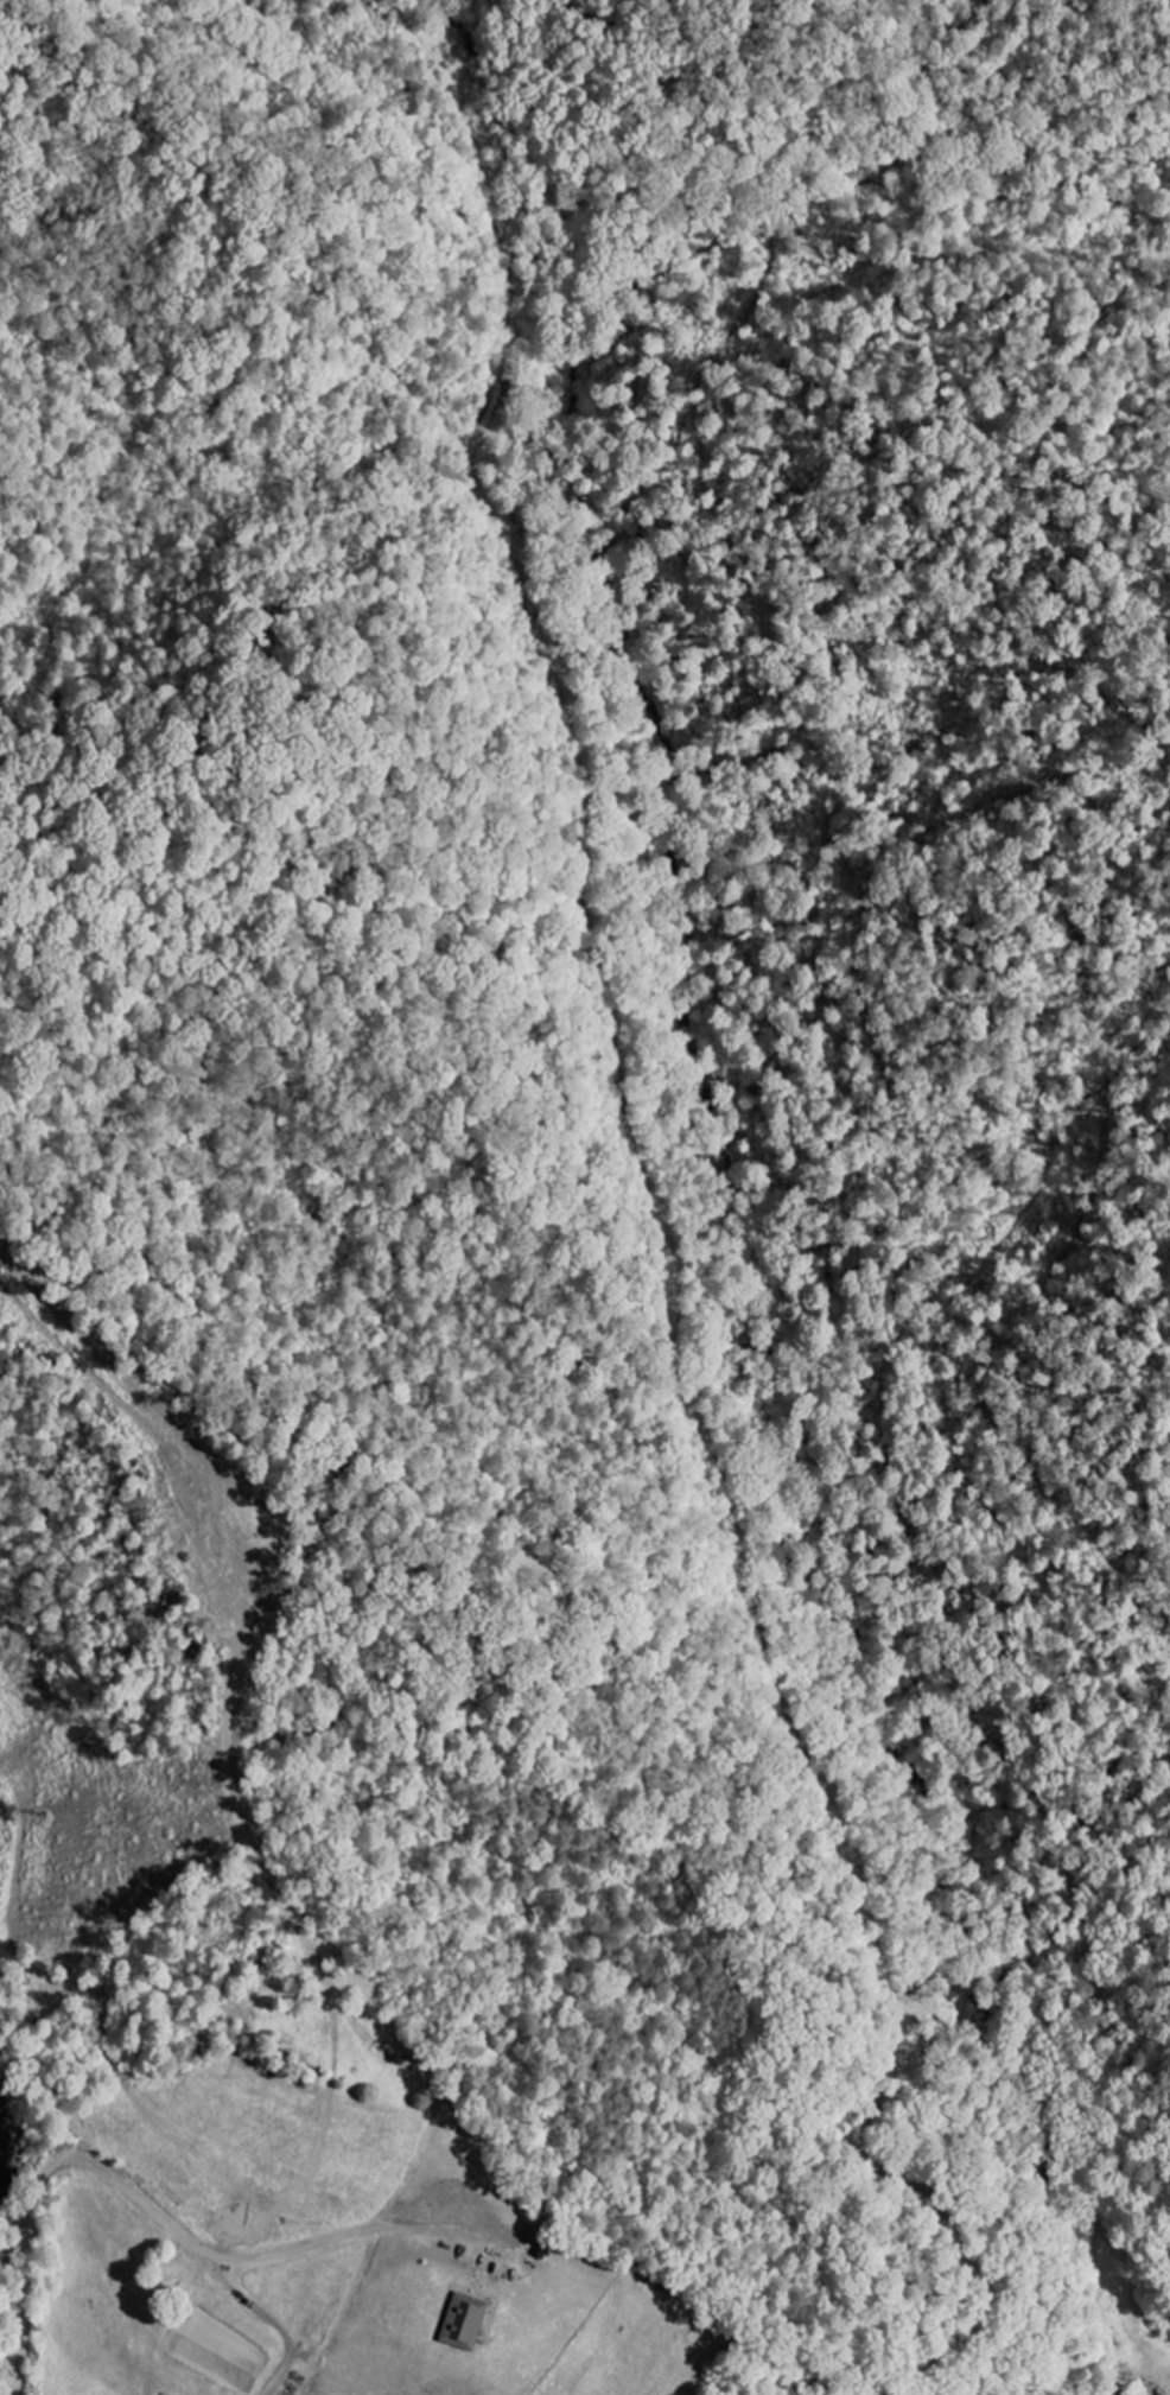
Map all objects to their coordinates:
building: (469, 2320)

